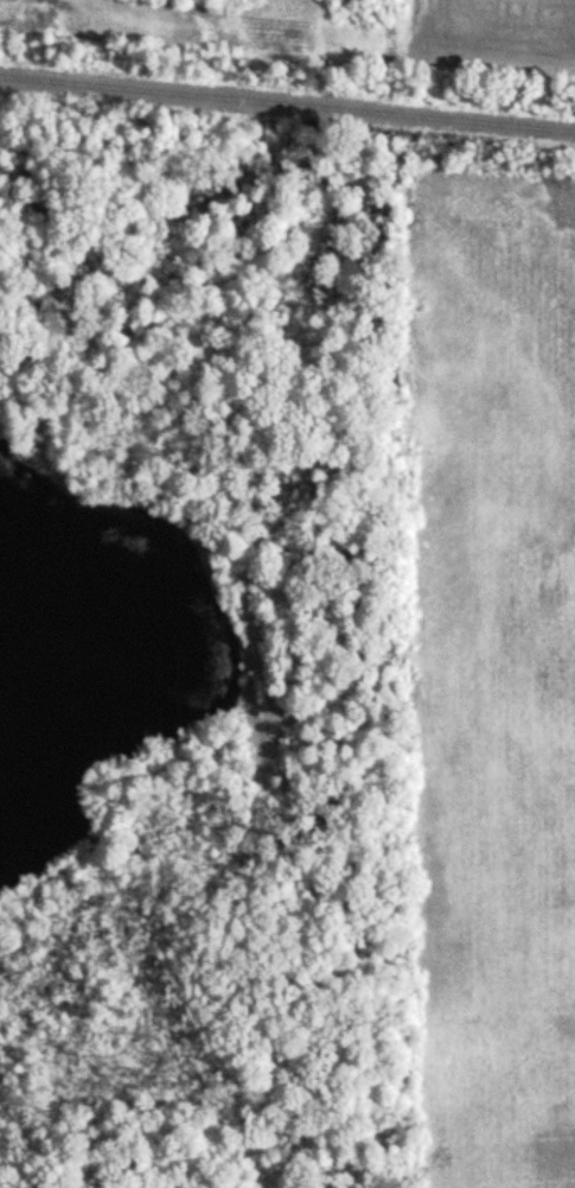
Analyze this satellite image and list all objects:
railway: (287, 104)

